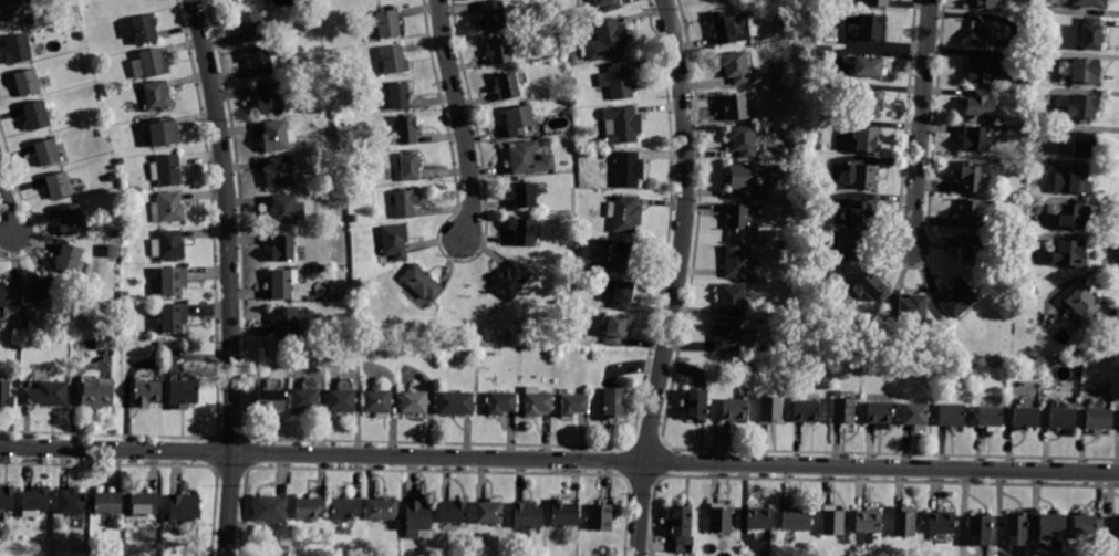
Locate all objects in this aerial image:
building: (310, 2)
building: (875, 2)
building: (985, 3)
building: (1088, 3)
building: (610, 4)
building: (13, 10)
building: (493, 15)
building: (31, 21)
building: (556, 22)
building: (388, 24)
building: (251, 27)
building: (872, 27)
building: (142, 29)
building: (731, 29)
building: (983, 33)
building: (1091, 33)
building: (608, 40)
building: (18, 49)
building: (500, 51)
building: (394, 60)
building: (259, 63)
building: (151, 65)
building: (737, 67)
building: (868, 67)
building: (984, 69)
building: (1086, 71)
building: (783, 76)
building: (27, 82)
building: (622, 82)
building: (507, 86)
building: (156, 95)
building: (400, 96)
building: (271, 99)
building: (867, 103)
building: (978, 104)
building: (1082, 106)
building: (737, 108)
building: (37, 116)
building: (518, 119)
road: (460, 122)
road: (921, 123)
building: (621, 126)
building: (407, 130)
building: (162, 135)
building: (278, 135)
building: (867, 139)
building: (975, 139)
building: (744, 140)
building: (1082, 144)
building: (46, 153)
building: (529, 158)
building: (410, 166)
building: (629, 169)
building: (166, 170)
building: (282, 171)
building: (862, 176)
building: (743, 177)
building: (966, 178)
building: (1079, 180)
building: (59, 185)
building: (525, 195)
building: (405, 203)
building: (167, 208)
road: (6, 209)
building: (287, 209)
building: (860, 212)
building: (975, 213)
building: (625, 214)
building: (1073, 216)
building: (738, 217)
building: (354, 218)
building: (71, 219)
building: (524, 231)
building: (394, 241)
building: (852, 244)
building: (168, 245)
building: (579, 246)
building: (283, 249)
building: (112, 251)
building: (974, 251)
building: (562, 253)
building: (622, 253)
building: (1069, 254)
building: (70, 259)
building: (737, 262)
road: (228, 276)
road: (677, 277)
building: (173, 280)
building: (422, 281)
building: (512, 281)
building: (283, 283)
building: (871, 287)
building: (43, 289)
building: (619, 292)
building: (10, 294)
building: (348, 294)
building: (732, 300)
building: (959, 300)
building: (1084, 302)
building: (912, 307)
building: (173, 316)
building: (286, 321)
building: (1116, 324)
building: (615, 329)
building: (567, 332)
building: (727, 336)
building: (157, 343)
building: (1079, 354)
building: (942, 365)
building: (1049, 368)
building: (930, 382)
building: (4, 391)
building: (146, 392)
building: (183, 392)
building: (46, 394)
building: (99, 394)
building: (305, 399)
building: (271, 400)
building: (342, 400)
building: (415, 401)
building: (379, 402)
building: (456, 402)
building: (502, 402)
building: (537, 402)
building: (613, 403)
building: (574, 405)
building: (696, 405)
building: (770, 409)
building: (735, 410)
building: (806, 411)
building: (843, 411)
building: (880, 415)
building: (916, 415)
building: (952, 415)
building: (1063, 417)
building: (988, 418)
building: (1025, 418)
building: (1098, 420)
road: (559, 460)
building: (7, 497)
building: (35, 501)
building: (71, 501)
building: (107, 503)
building: (144, 503)
building: (185, 507)
building: (310, 507)
building: (270, 508)
building: (345, 508)
building: (383, 508)
building: (454, 511)
building: (490, 511)
building: (564, 513)
building: (528, 515)
building: (601, 515)
building: (417, 517)
building: (721, 518)
building: (760, 518)
building: (797, 520)
building: (833, 521)
building: (869, 521)
building: (904, 522)
building: (943, 523)
building: (682, 524)
building: (1087, 525)
building: (1051, 526)
building: (155, 528)
building: (981, 531)
building: (1018, 531)
building: (1117, 531)

